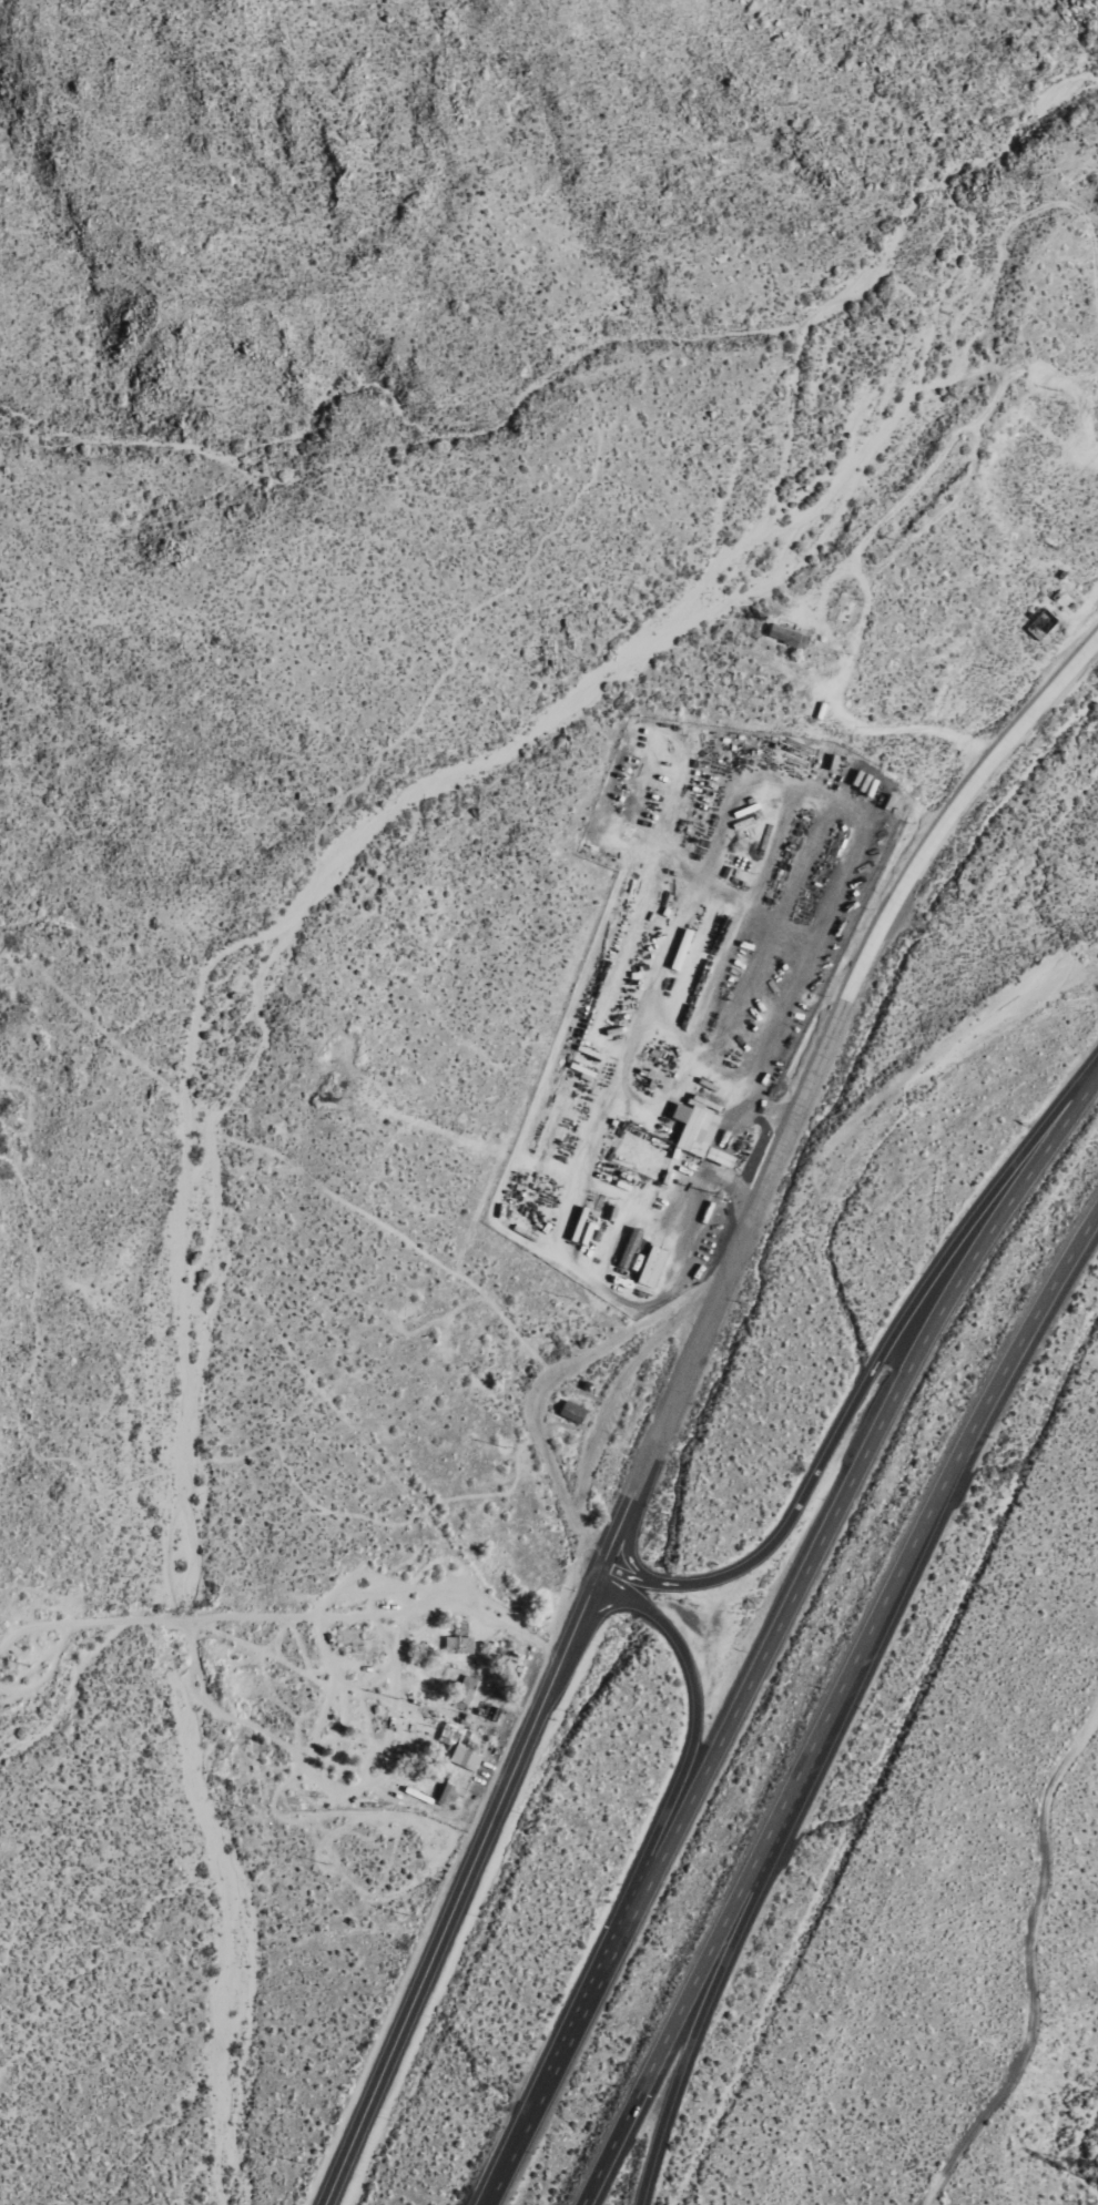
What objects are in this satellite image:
building: (787, 634)
park: (314, 815)
road: (837, 1035)
building: (700, 1132)
building: (652, 1269)
road: (871, 1375)
road: (936, 1496)
road: (621, 1518)
road: (832, 1530)
road: (630, 1537)
building: (466, 1757)
road: (685, 1774)
building: (448, 1796)
road: (464, 1887)
road: (714, 1948)
road: (1020, 1953)
road: (710, 1996)
road: (539, 2102)
road: (609, 2154)

